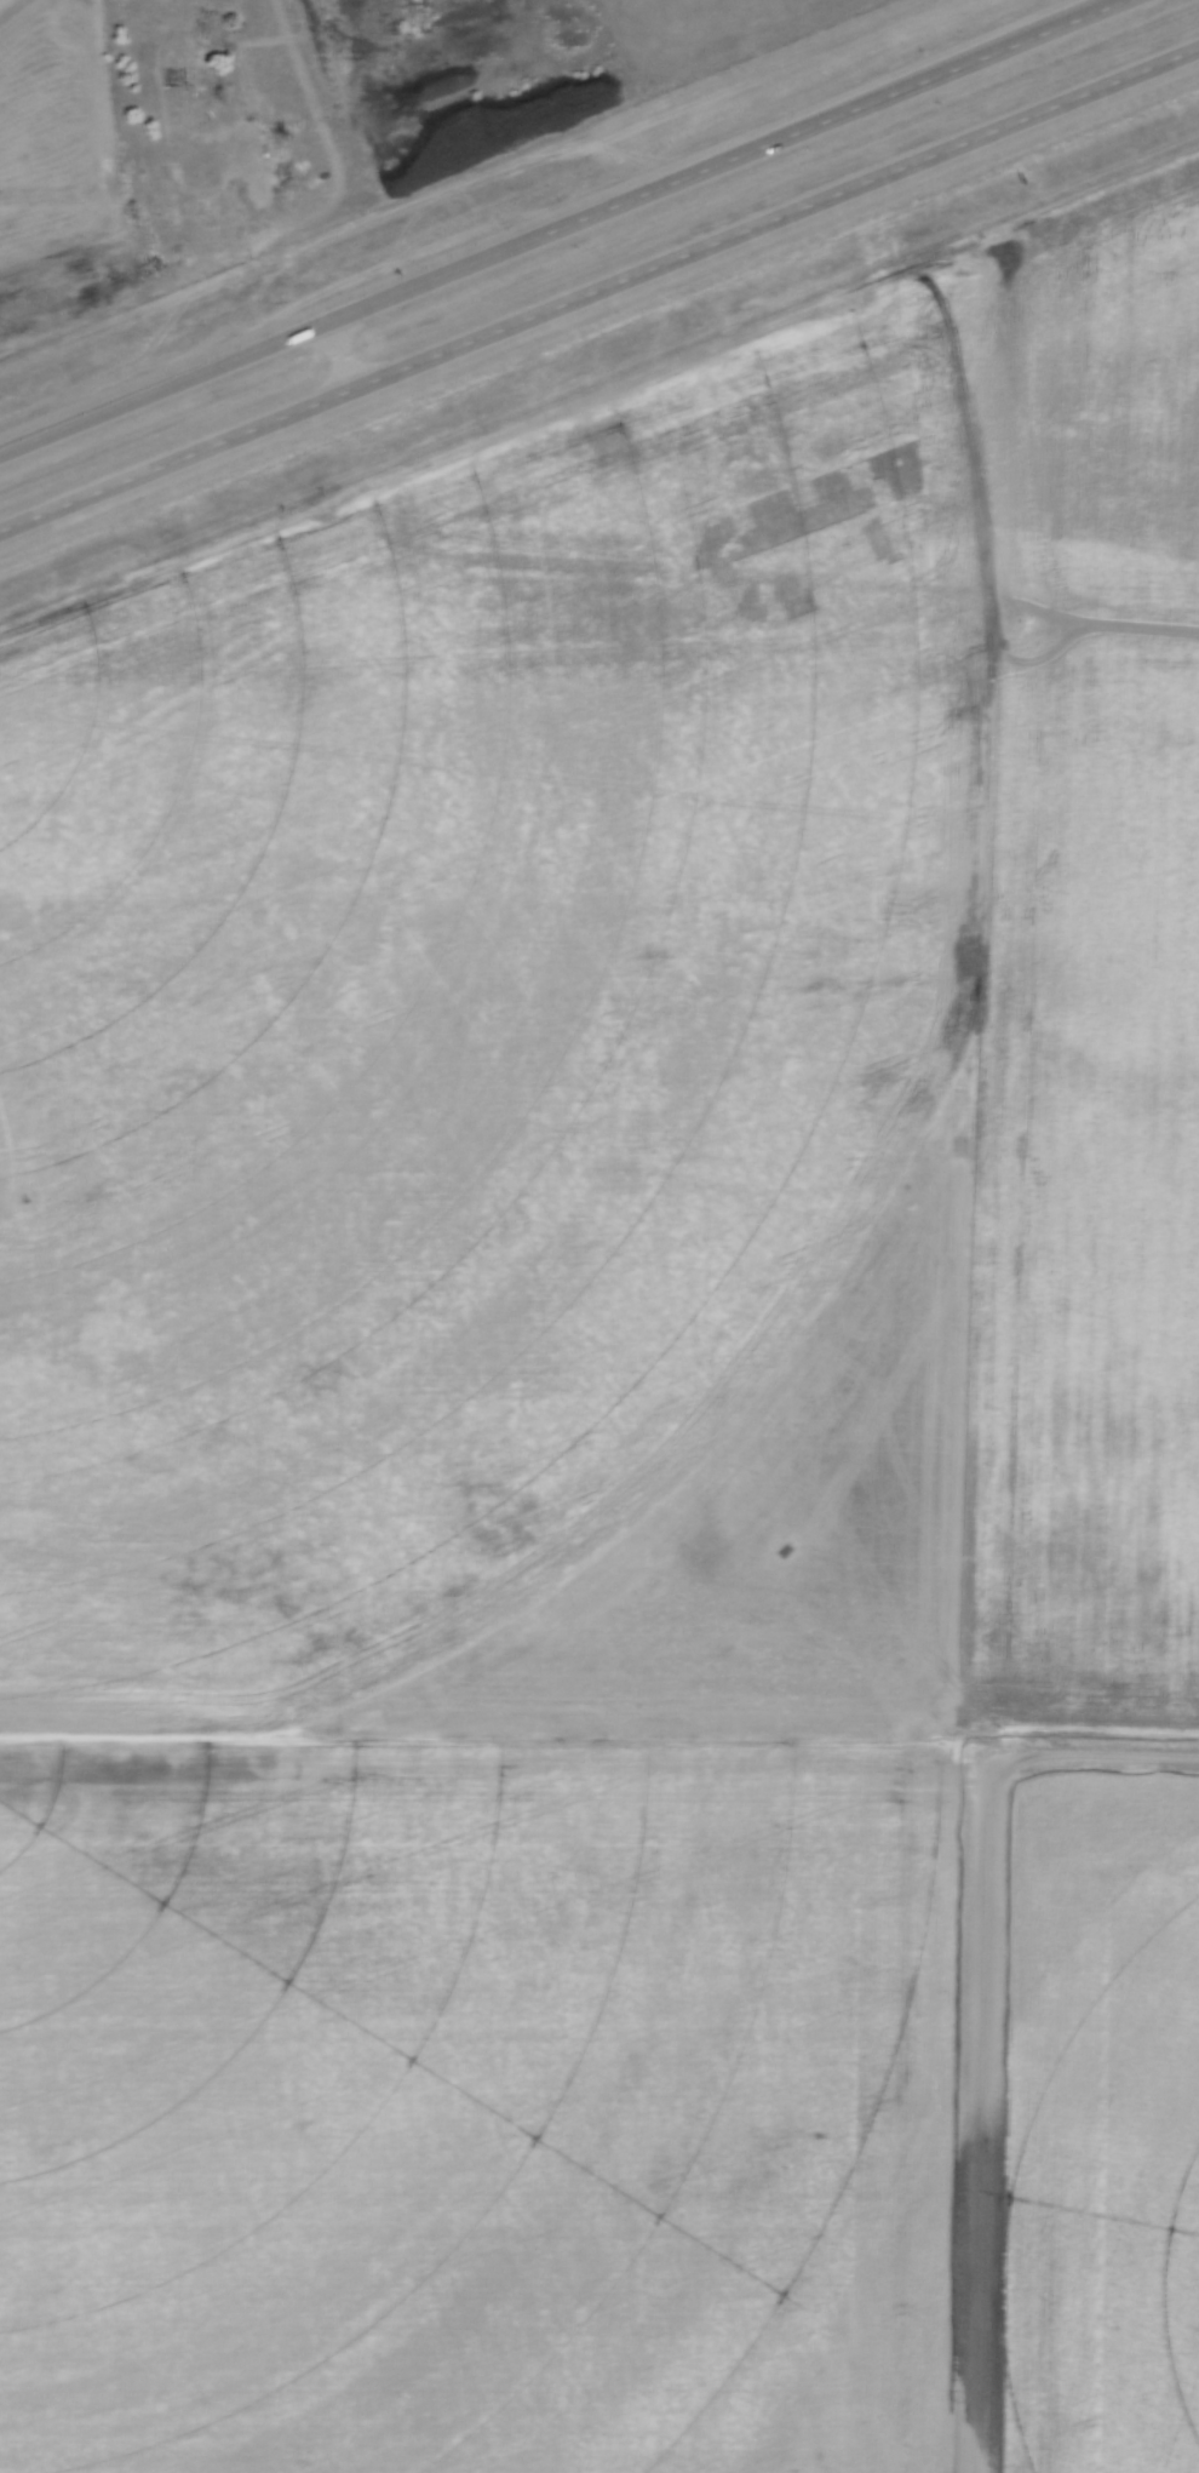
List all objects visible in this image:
road: (568, 228)
road: (599, 291)
crop: (585, 1366)
airport runway: (980, 1742)
crop: (1102, 2130)

